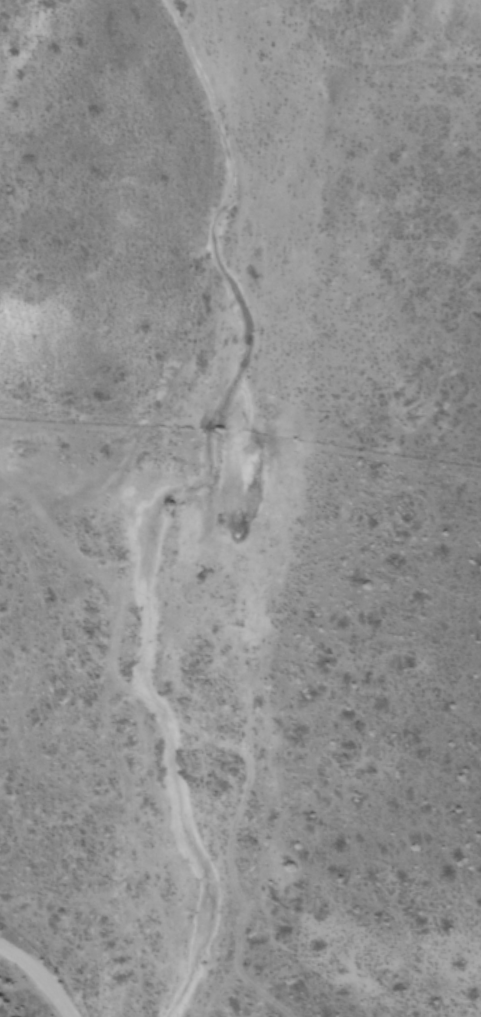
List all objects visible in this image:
road: (47, 957)

